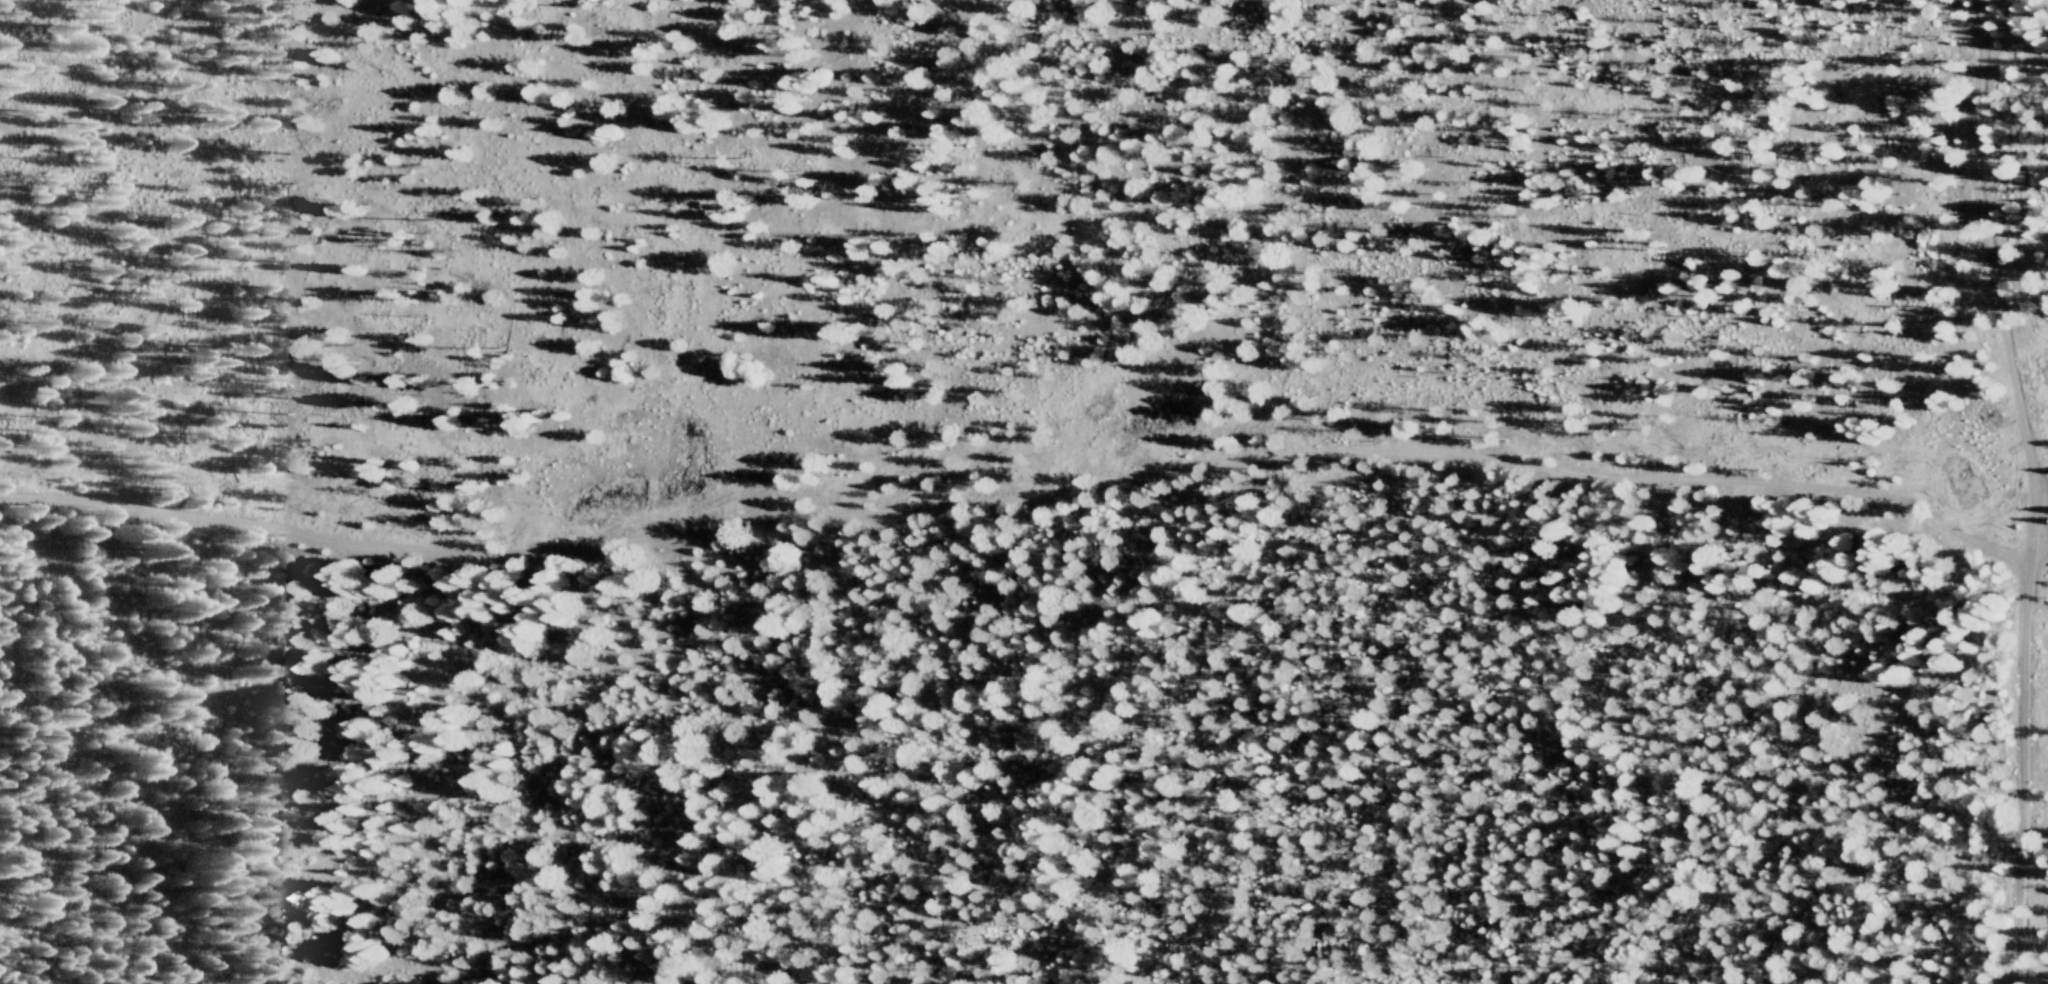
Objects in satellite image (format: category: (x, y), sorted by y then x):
road: (2033, 490)
road: (2040, 499)

